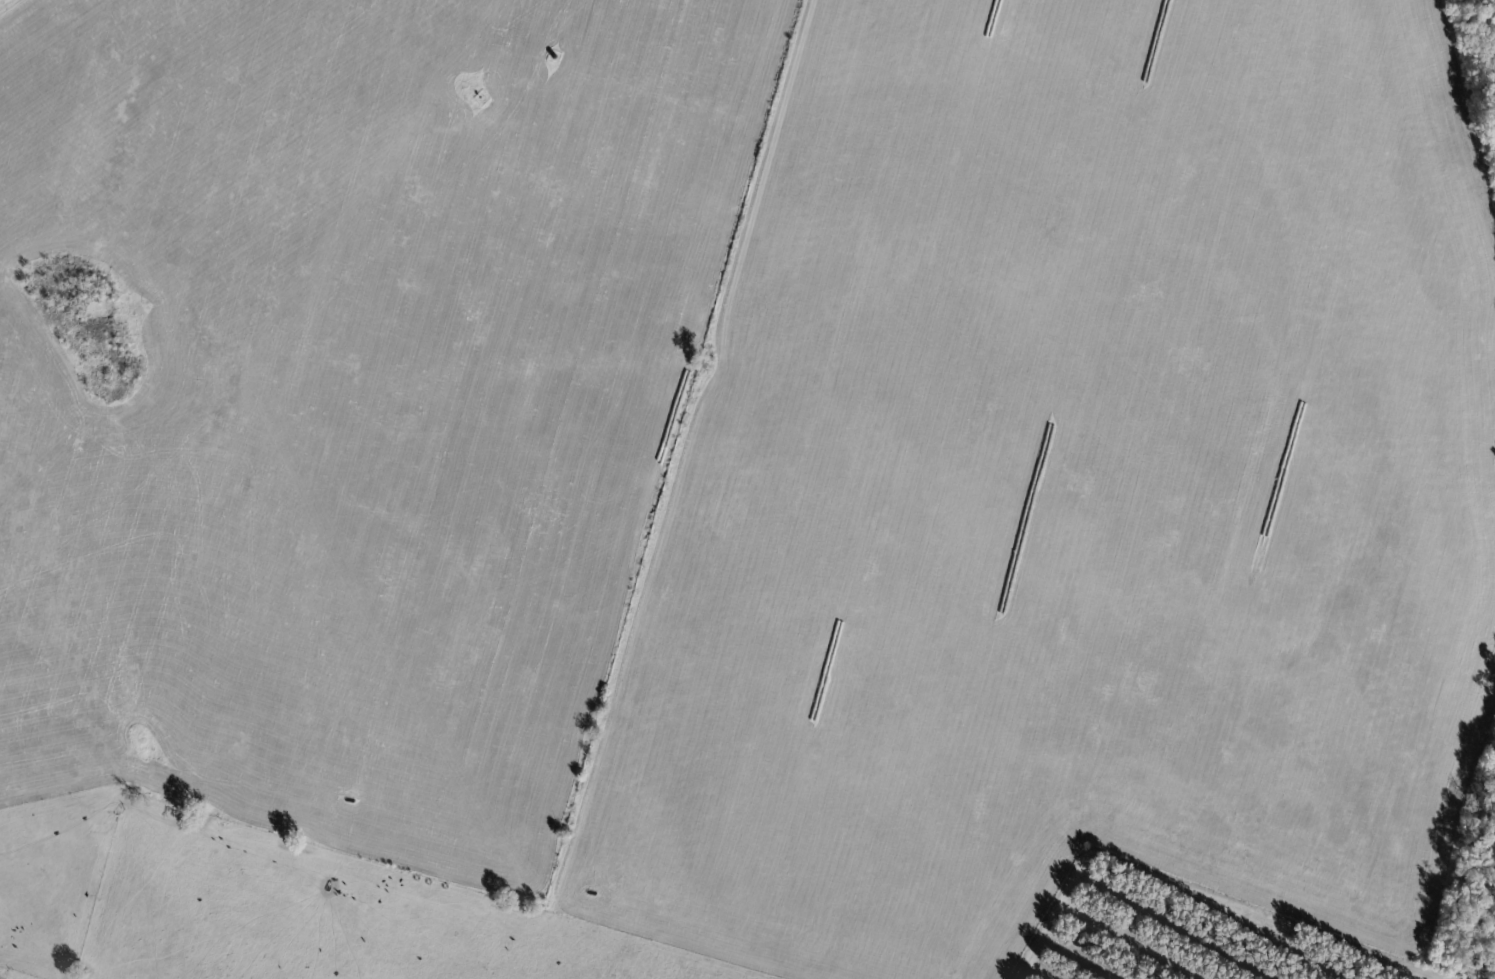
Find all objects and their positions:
road: (13, 9)
crop: (317, 915)

